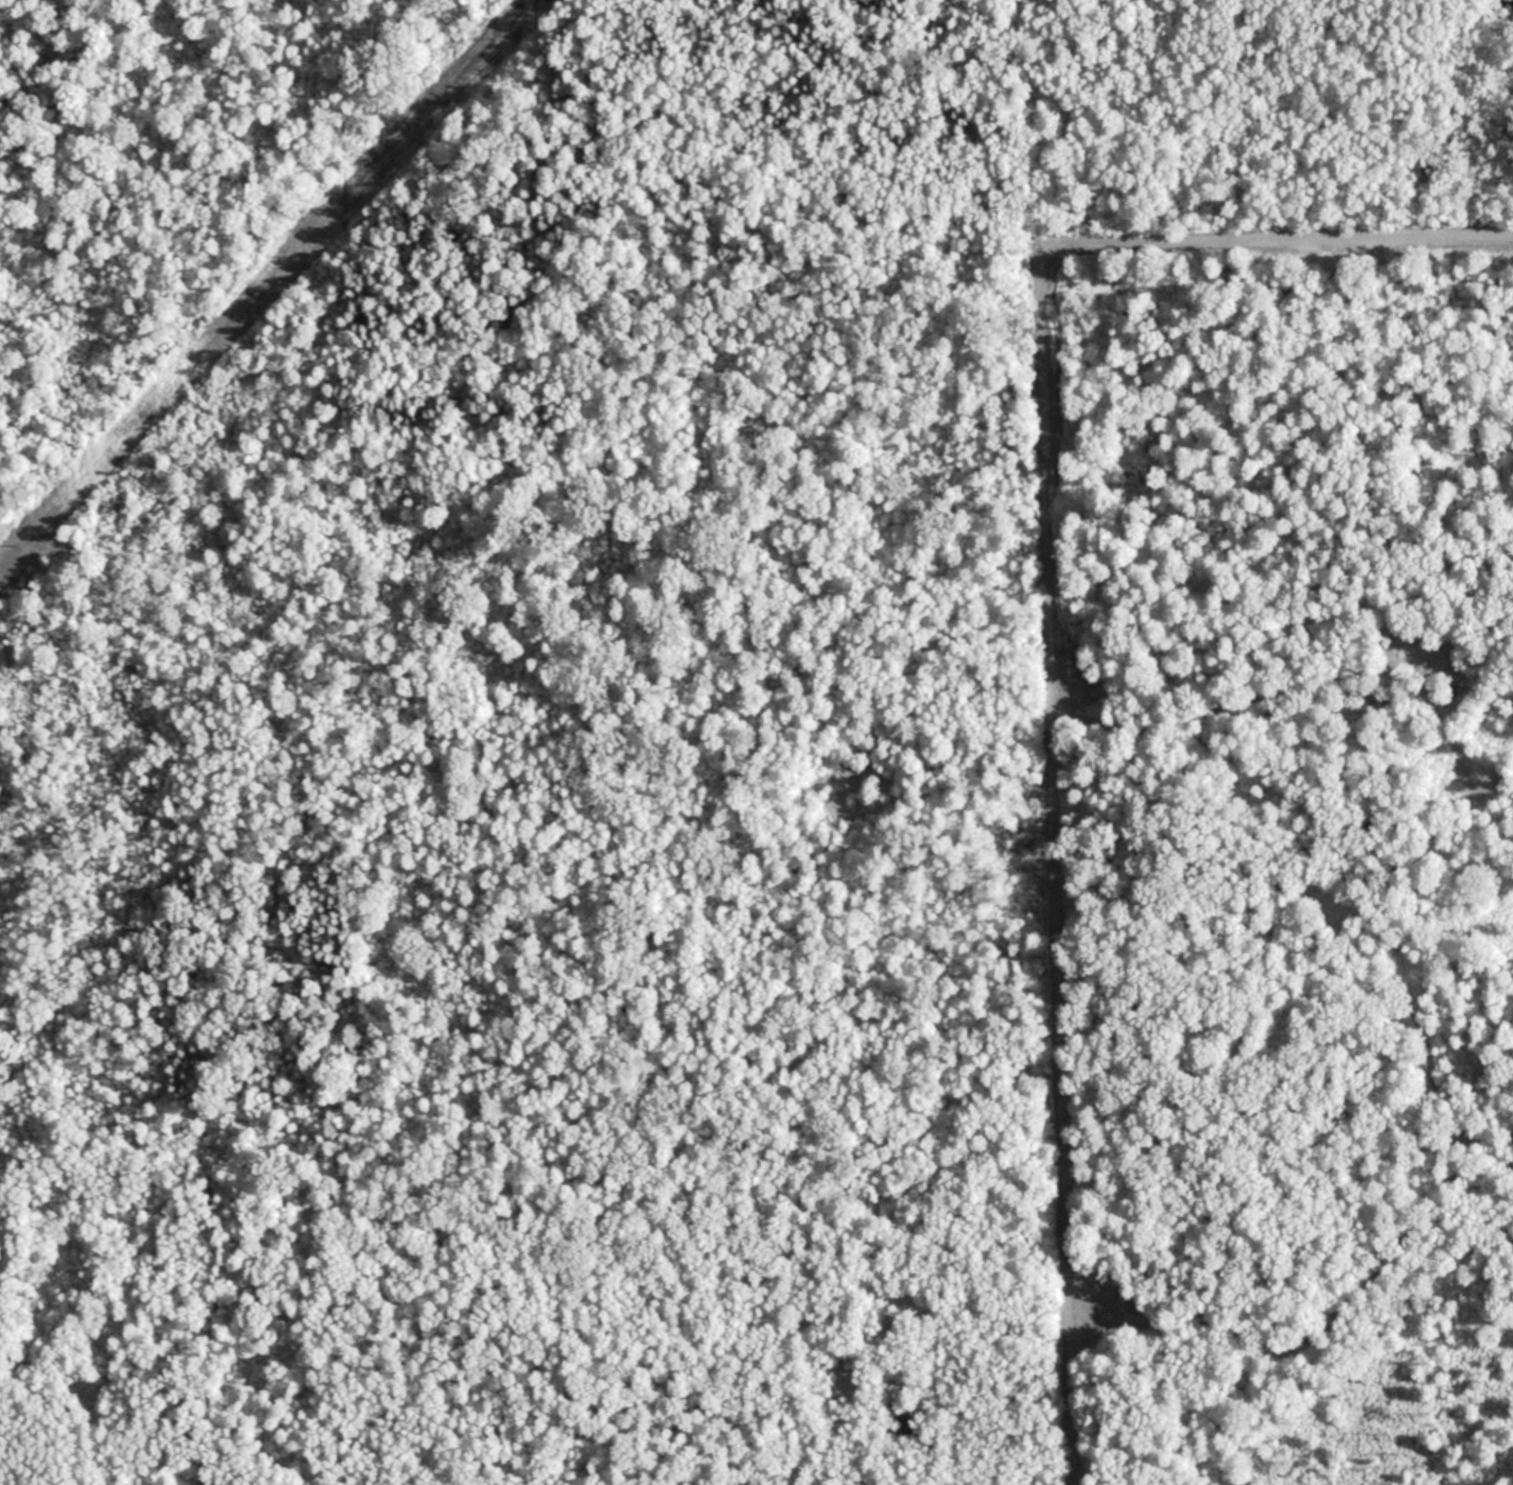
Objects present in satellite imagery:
park: (577, 703)

